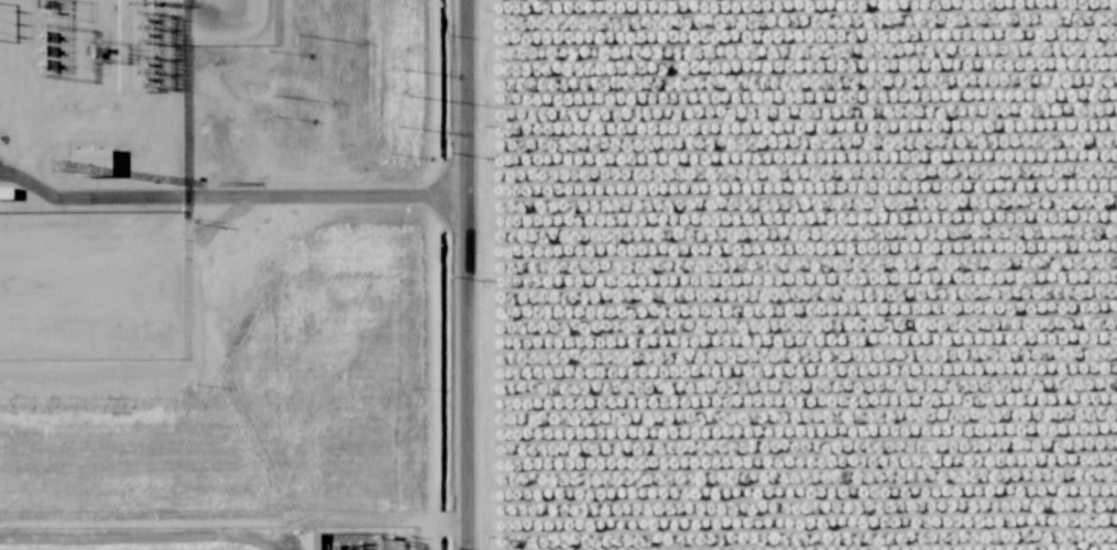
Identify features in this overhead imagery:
building: (89, 161)
building: (4, 193)
road: (480, 274)
crop: (793, 274)
road: (445, 526)
crop: (217, 538)
road: (138, 540)
building: (309, 540)

